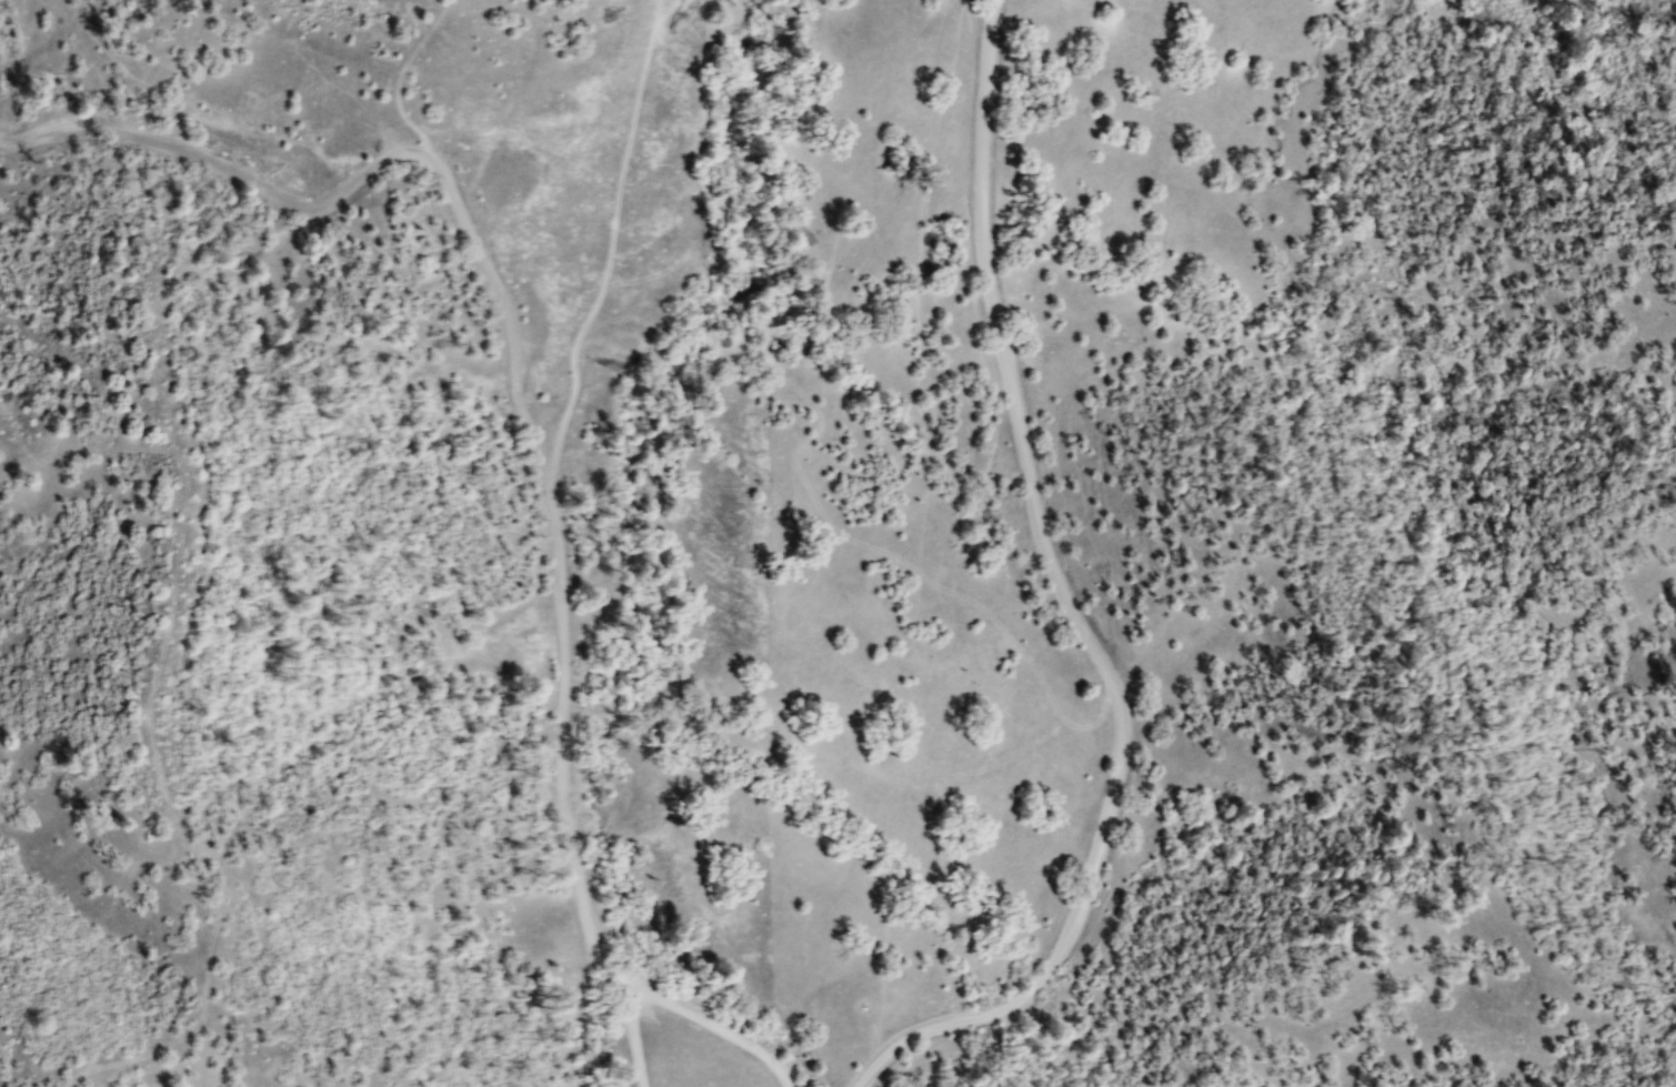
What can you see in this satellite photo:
road: (555, 440)
road: (1087, 607)

